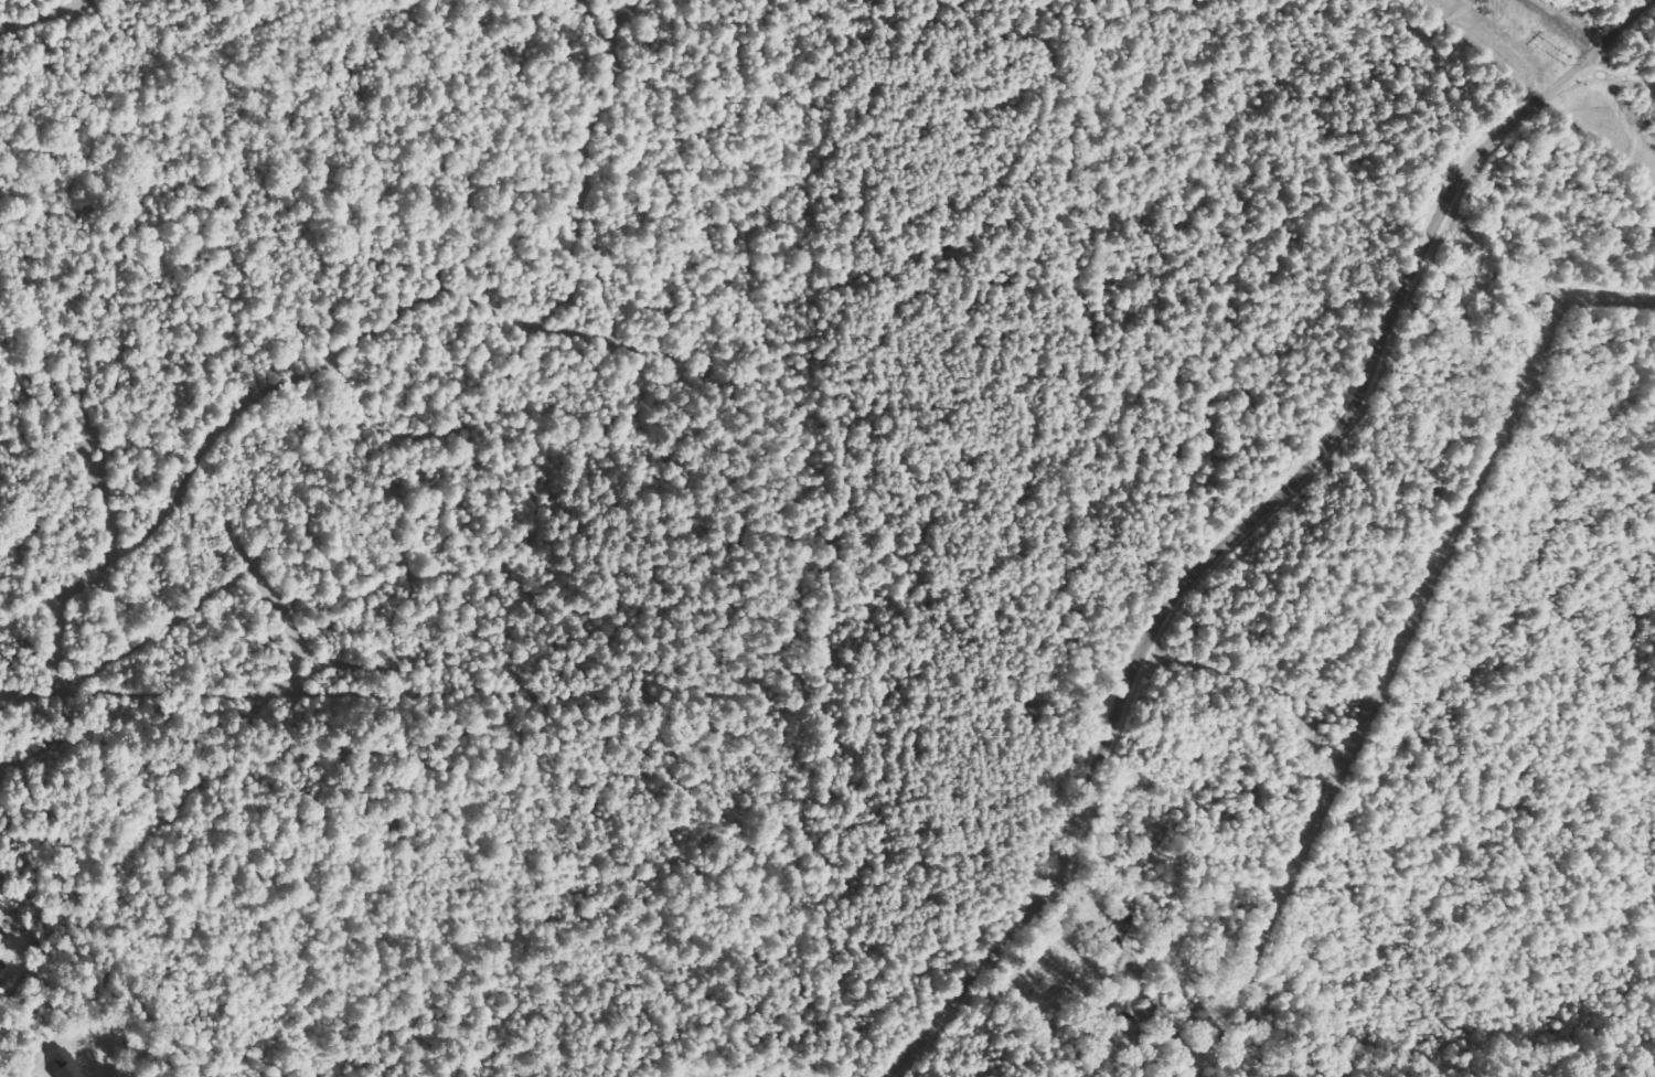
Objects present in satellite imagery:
power tower: (1573, 62)
road: (1620, 75)
road: (1279, 494)
building: (3, 988)
road: (916, 1047)
building: (65, 1065)

